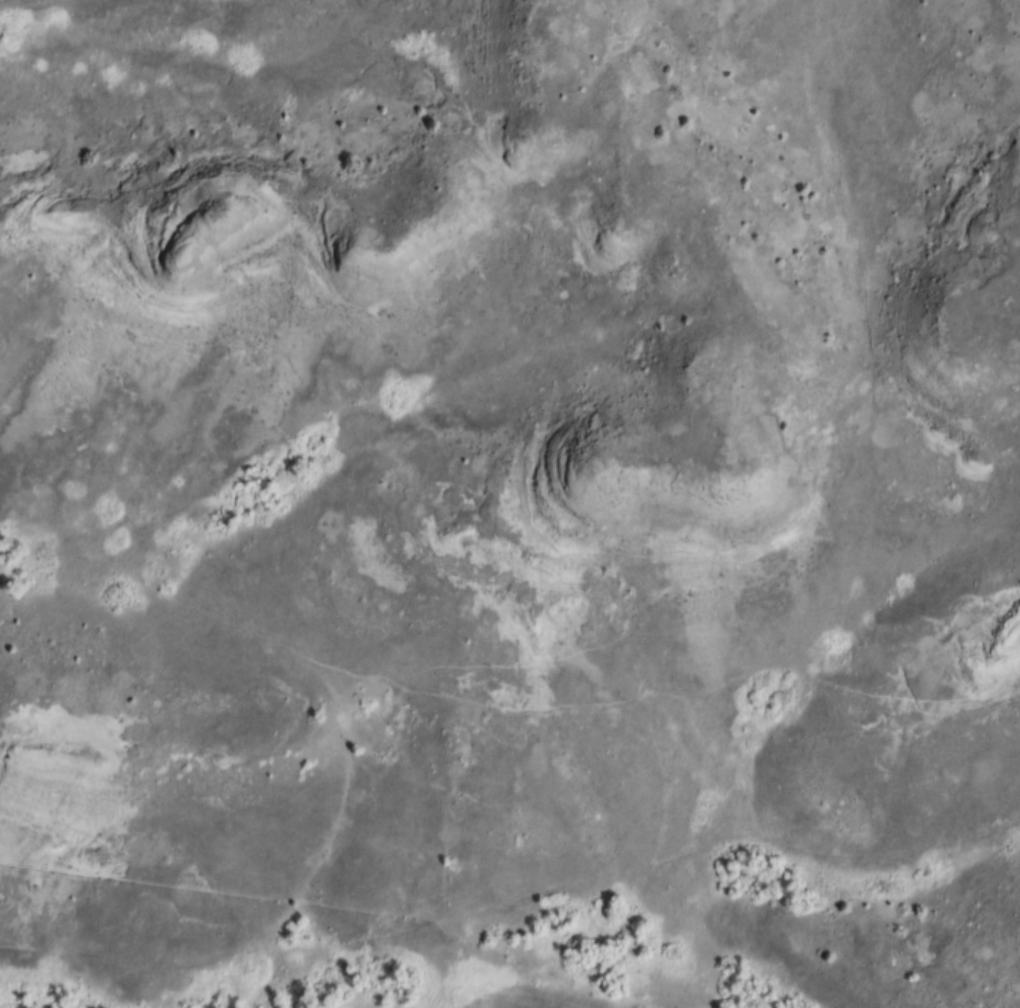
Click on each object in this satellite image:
road: (514, 892)
road: (446, 963)

